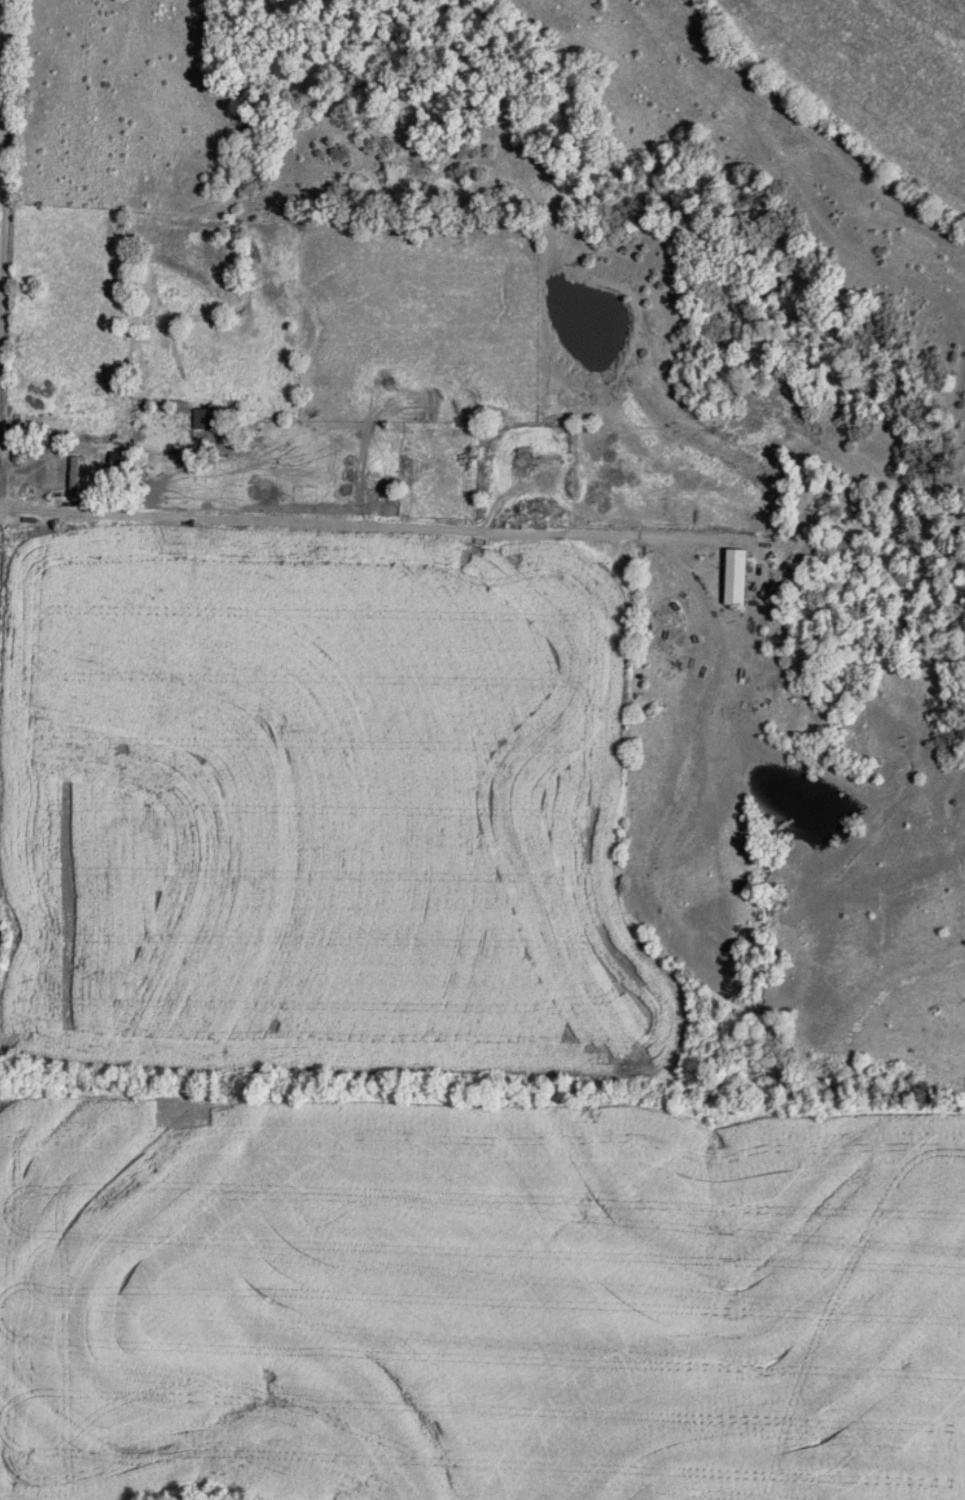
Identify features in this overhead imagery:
road: (1, 58)
building: (204, 418)
building: (119, 460)
building: (404, 470)
building: (74, 476)
road: (318, 520)
building: (737, 577)

